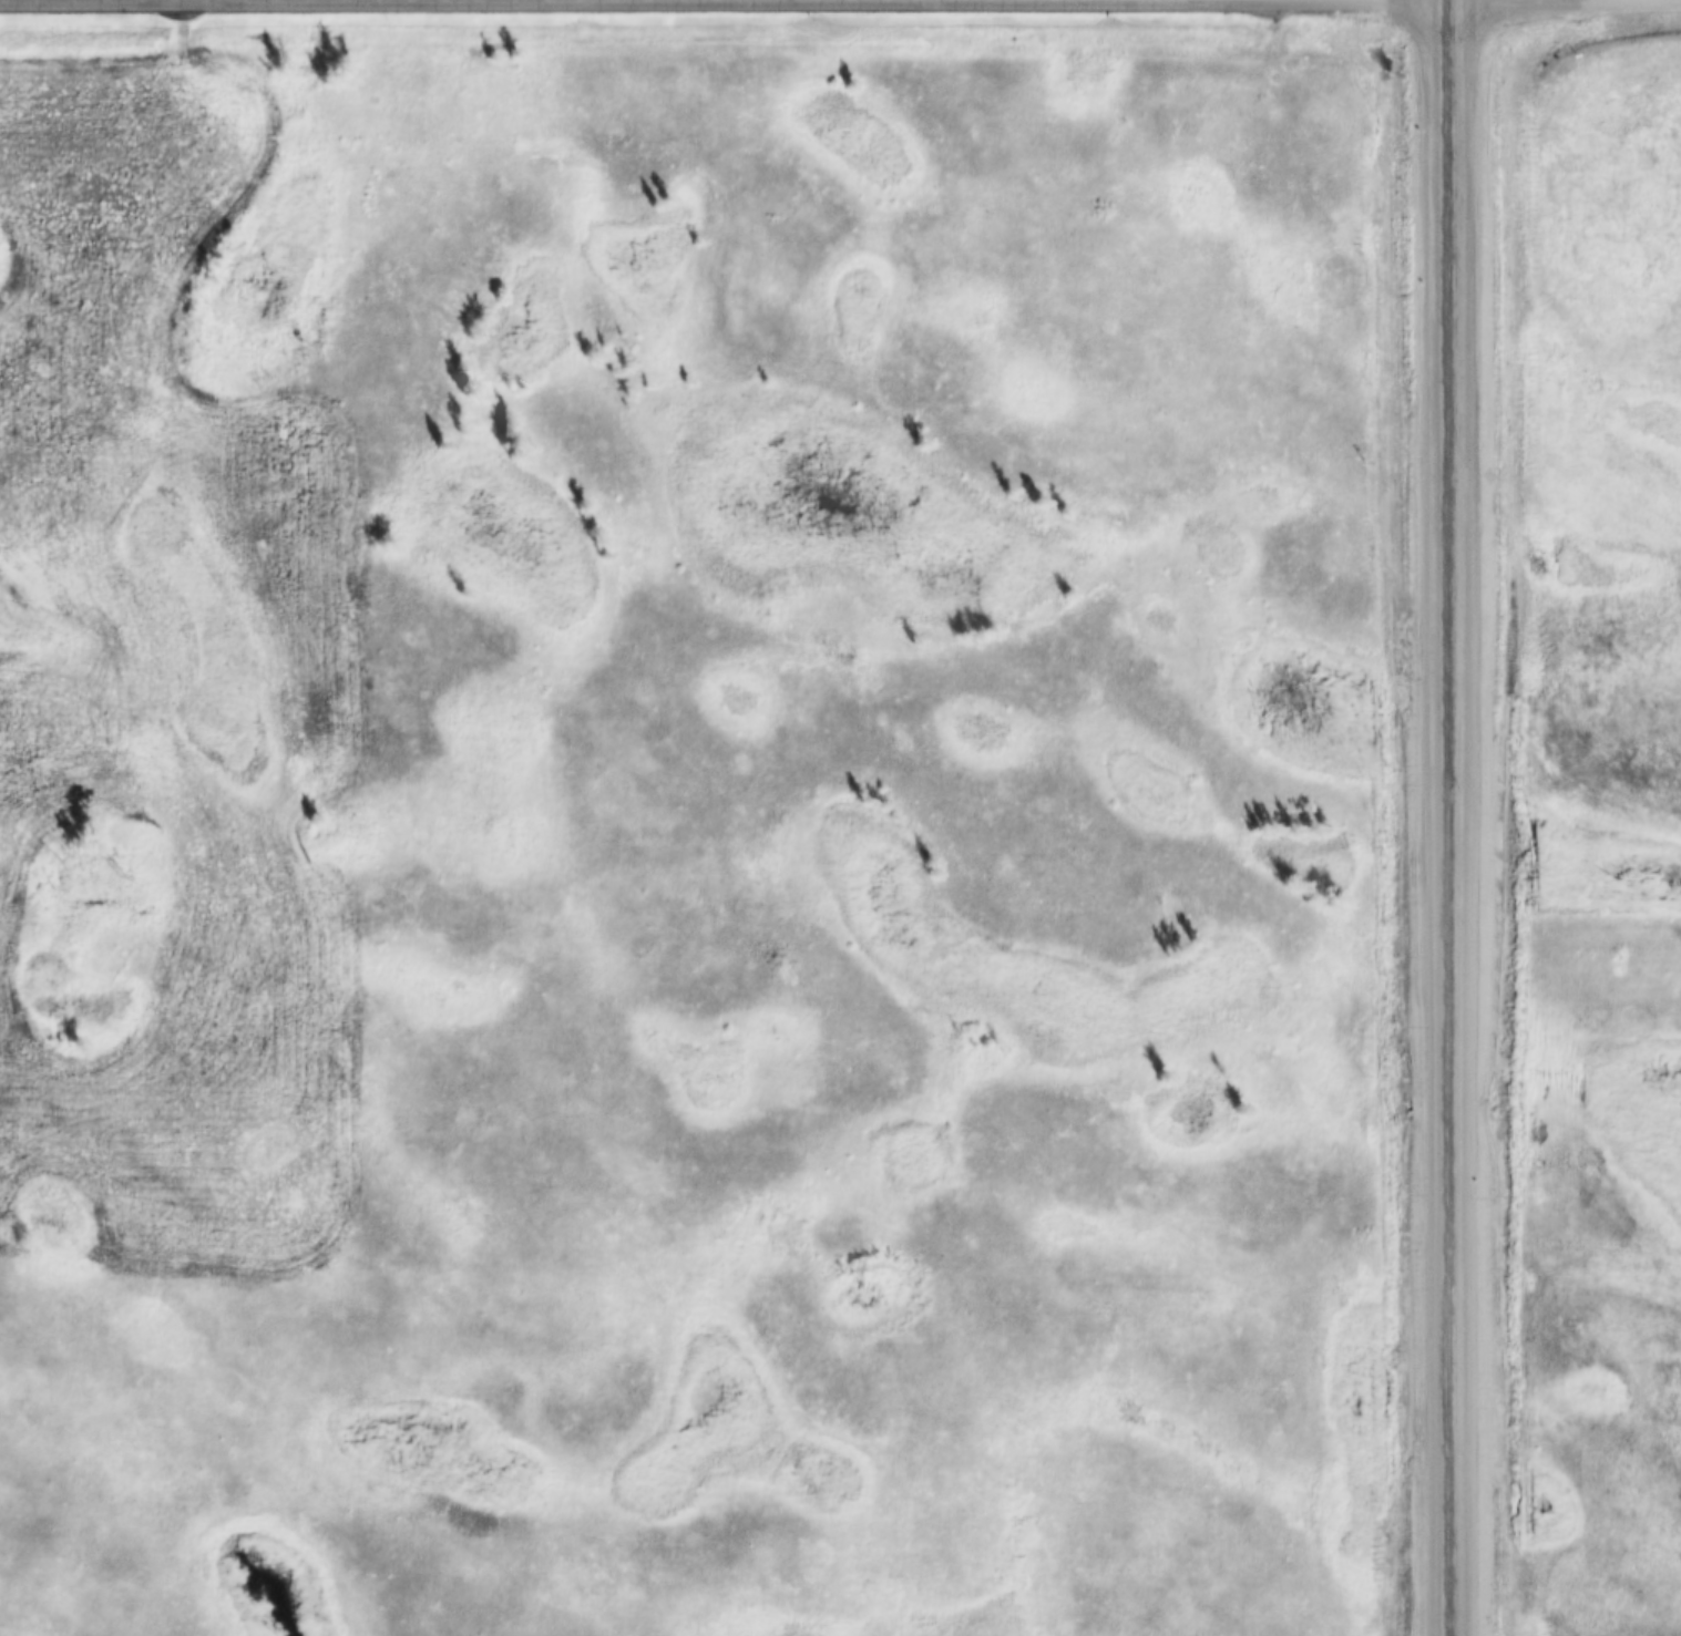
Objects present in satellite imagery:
road: (666, 1)
road: (1453, 817)

